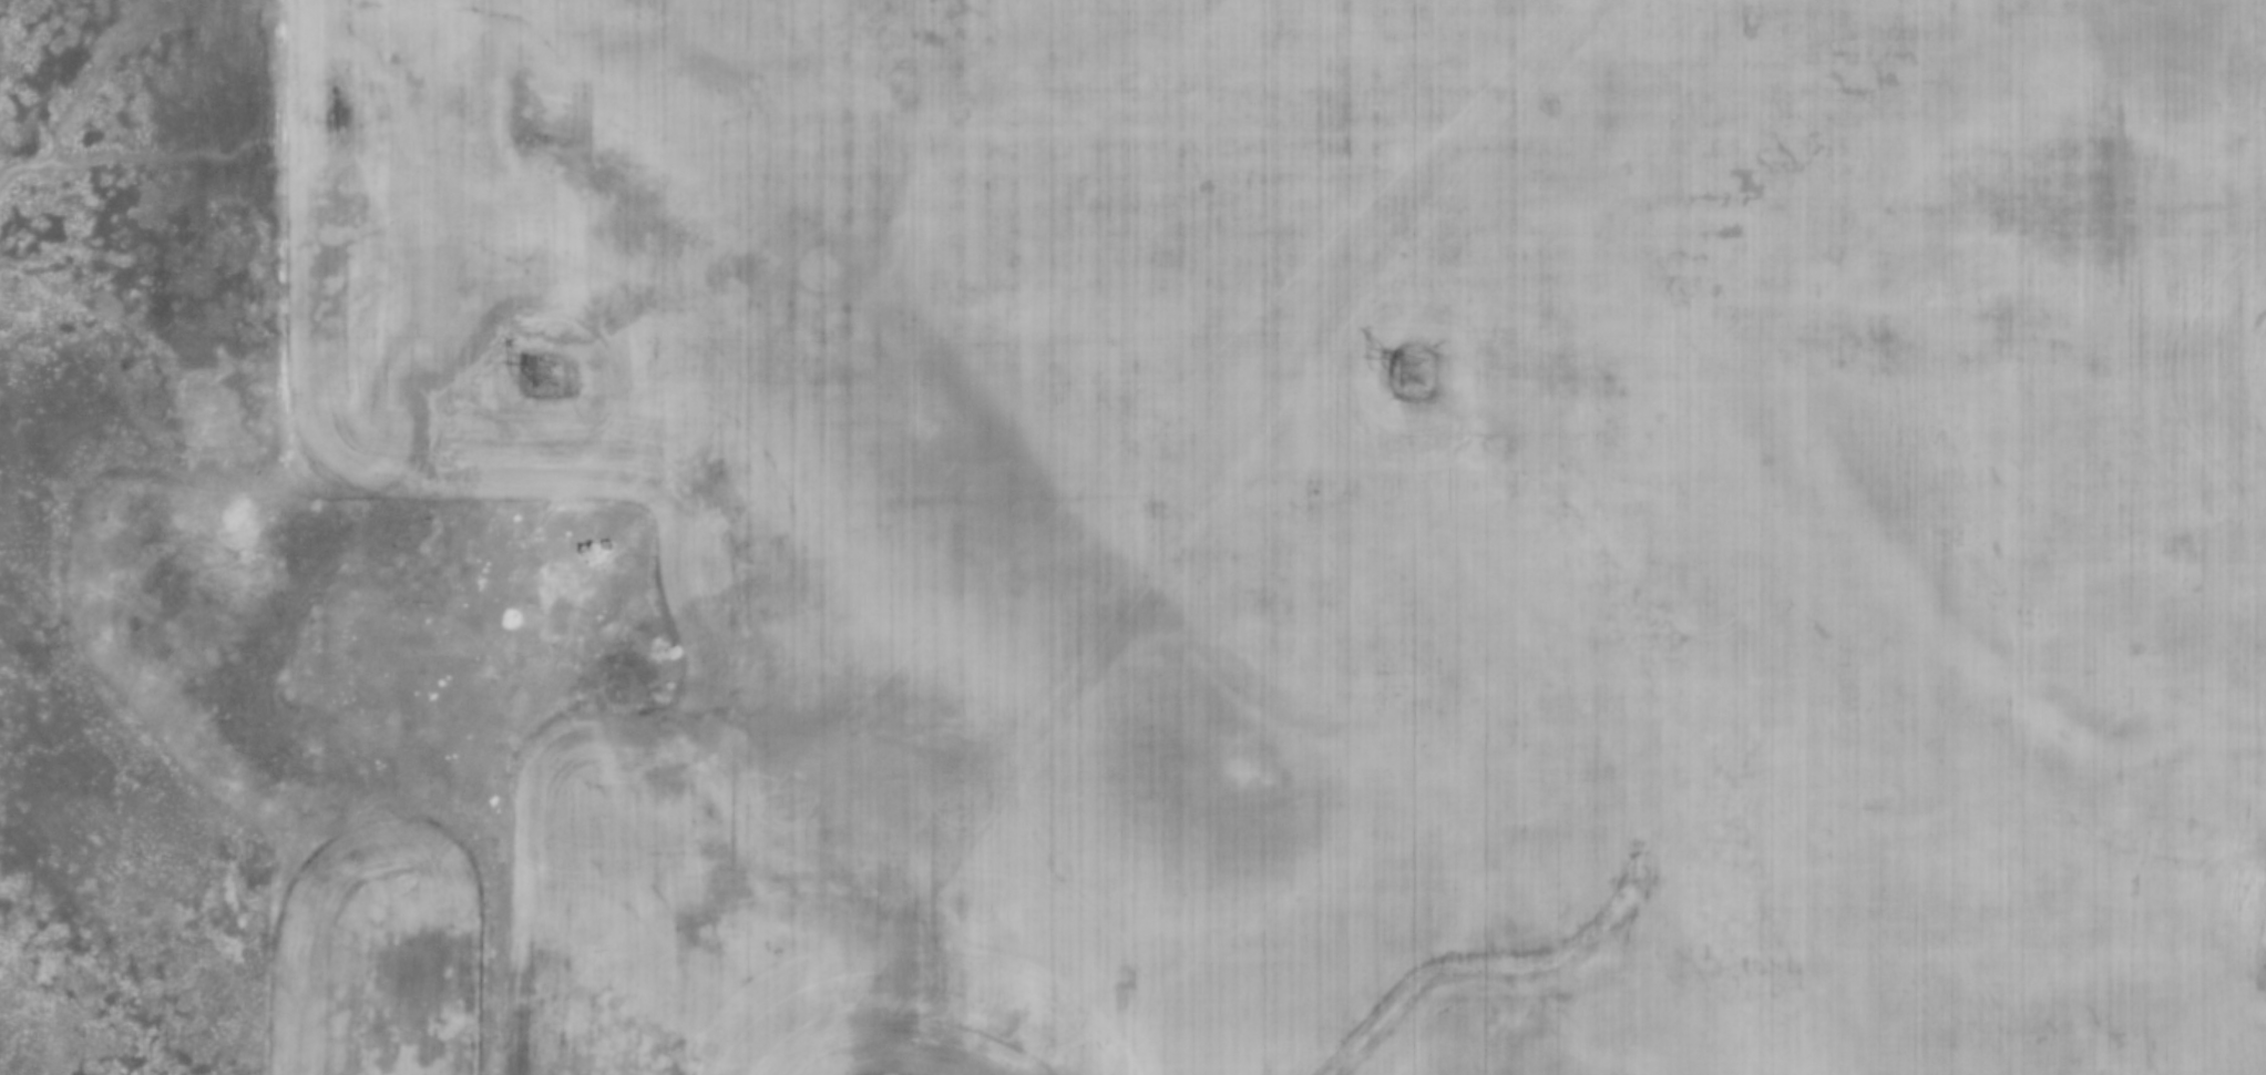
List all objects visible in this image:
power tower: (1407, 372)
power tower: (545, 373)

